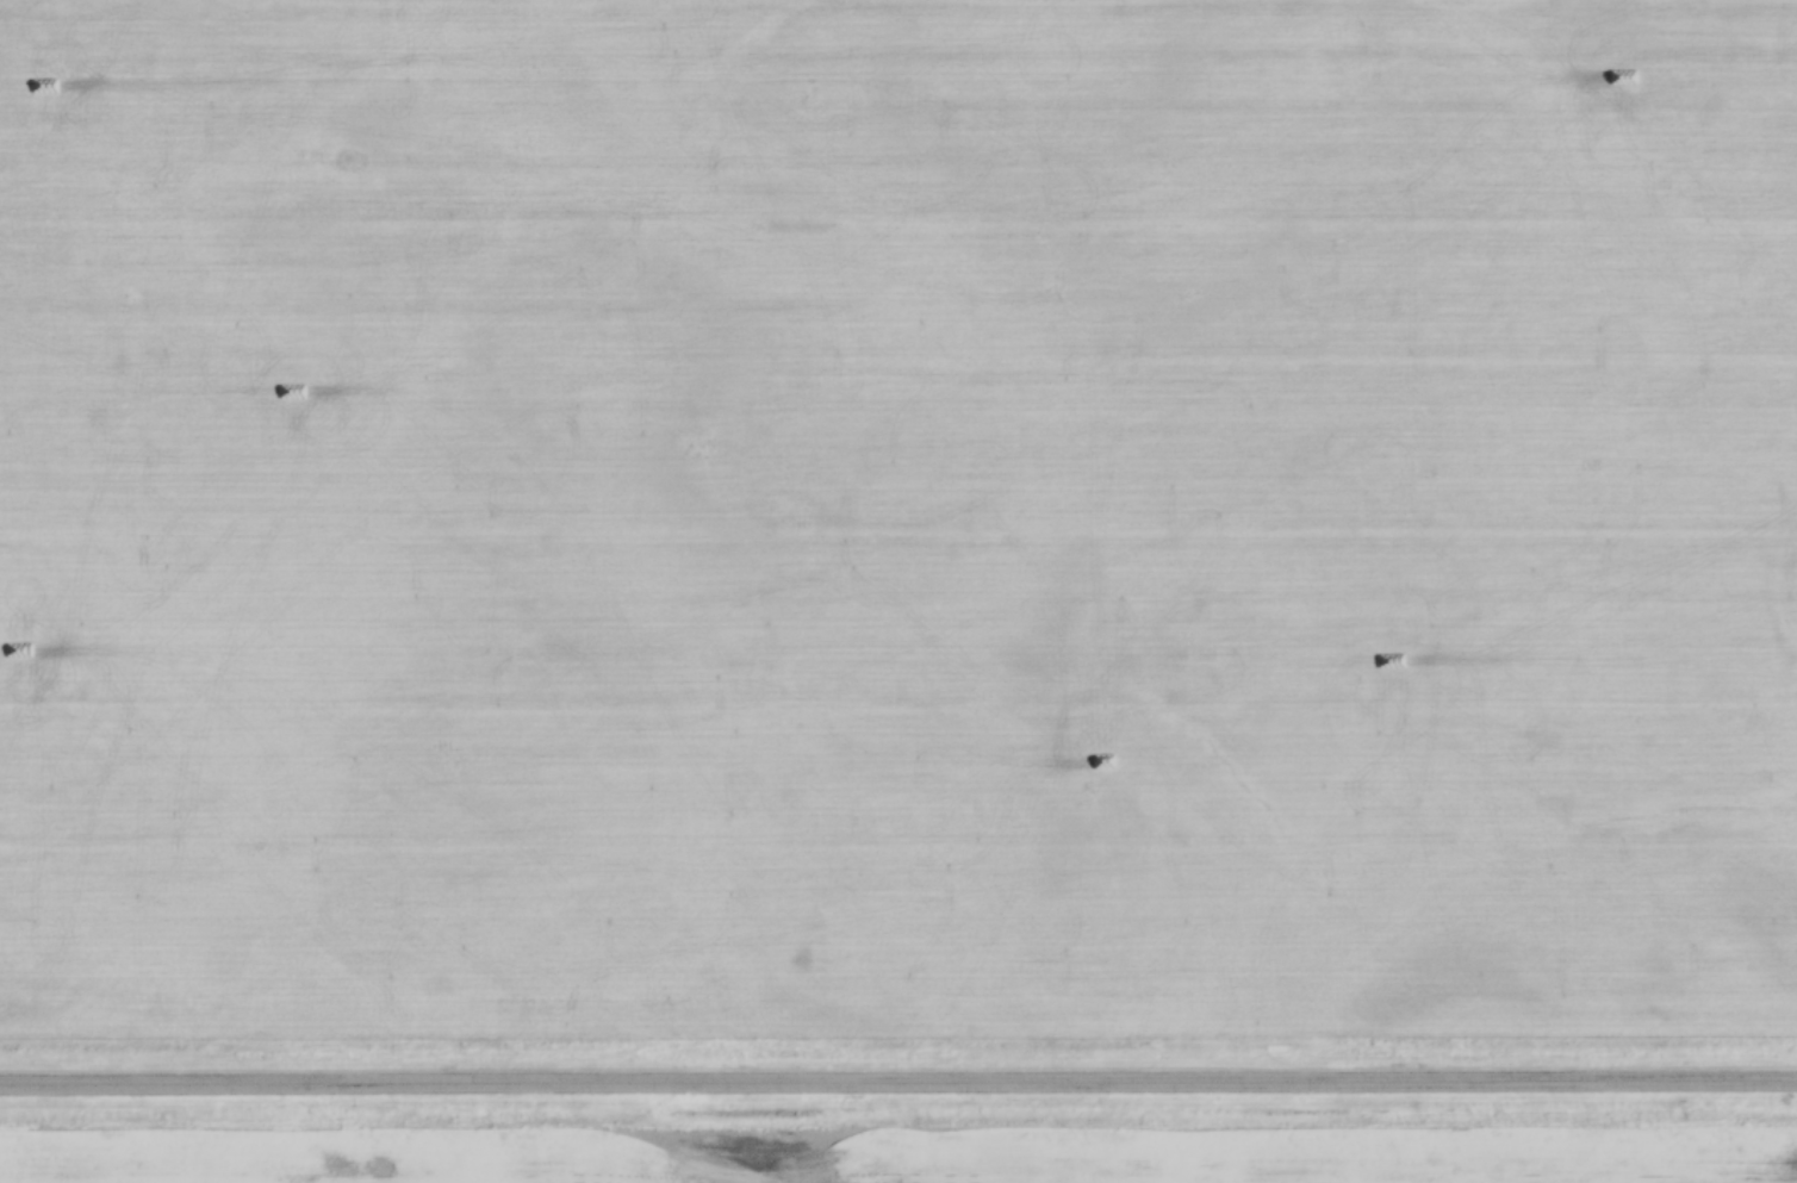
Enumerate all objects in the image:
road: (897, 1081)

